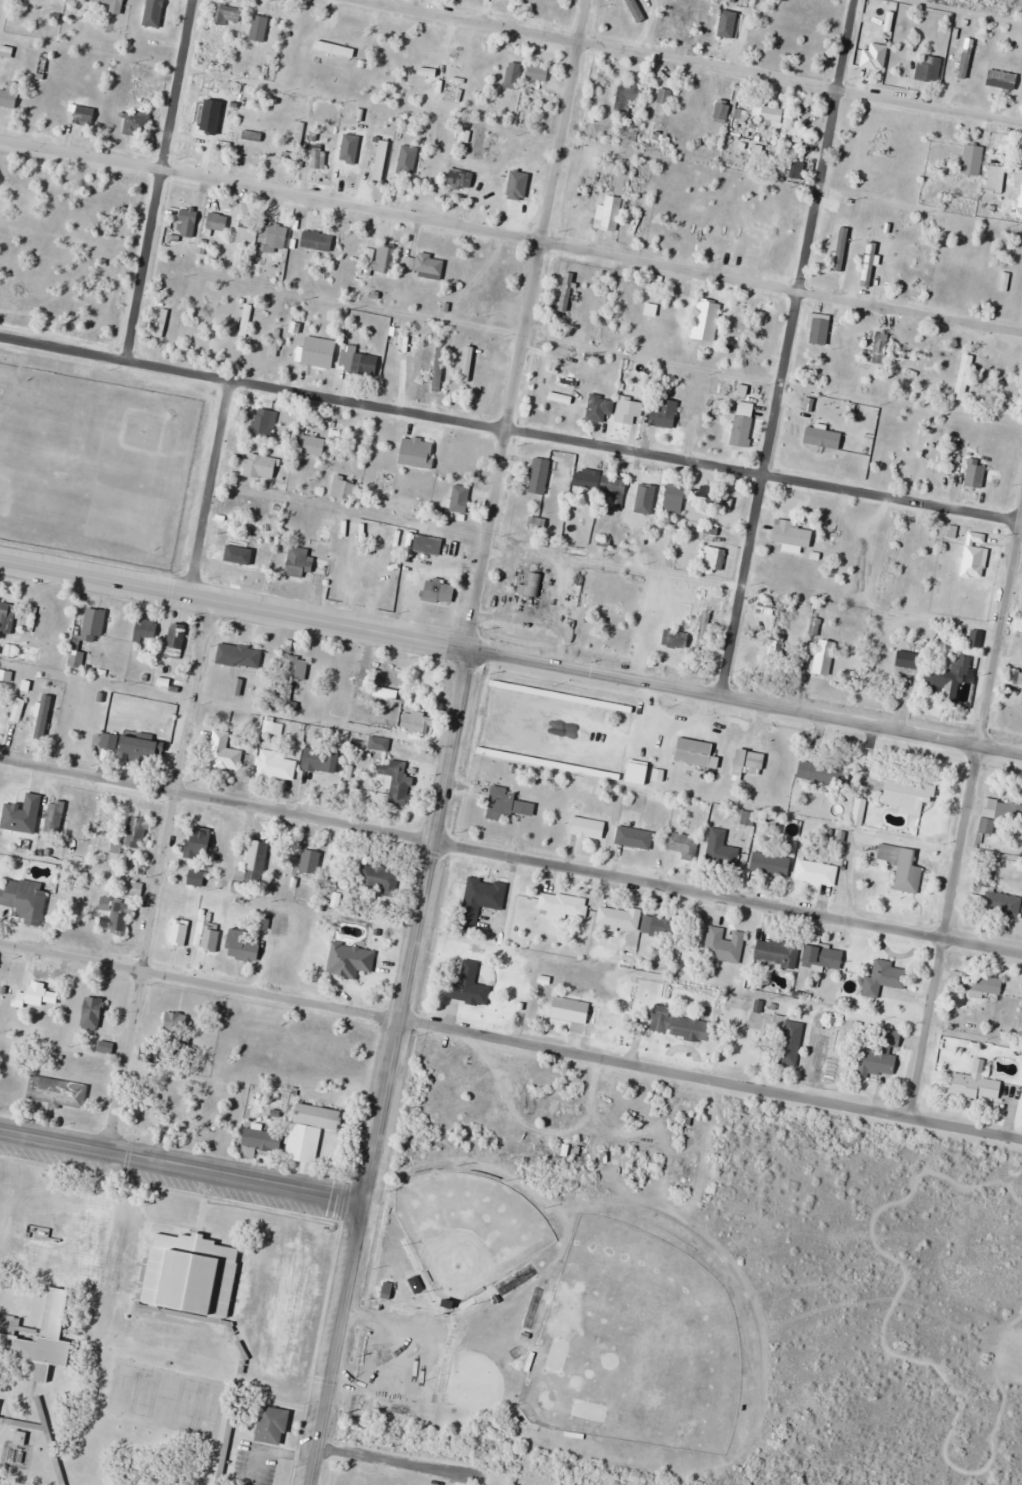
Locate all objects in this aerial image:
building: (114, 5)
building: (159, 10)
building: (227, 14)
building: (673, 19)
building: (731, 20)
building: (261, 26)
building: (328, 46)
building: (1021, 53)
building: (876, 56)
building: (967, 58)
road: (690, 62)
building: (930, 68)
building: (539, 73)
building: (513, 77)
building: (1003, 80)
building: (476, 85)
building: (630, 92)
building: (449, 93)
building: (10, 96)
building: (665, 97)
building: (722, 114)
building: (772, 115)
building: (86, 116)
building: (139, 124)
building: (228, 136)
building: (253, 136)
building: (316, 156)
building: (973, 160)
building: (349, 161)
building: (380, 161)
building: (406, 162)
building: (462, 178)
road: (158, 179)
building: (1017, 181)
building: (609, 213)
building: (218, 221)
building: (188, 223)
road: (511, 232)
building: (264, 234)
building: (318, 241)
building: (838, 247)
building: (386, 259)
building: (431, 264)
building: (870, 265)
building: (505, 284)
building: (567, 291)
building: (707, 320)
building: (246, 321)
building: (163, 323)
road: (528, 323)
building: (769, 325)
building: (821, 331)
building: (277, 342)
road: (787, 347)
building: (881, 348)
building: (320, 352)
building: (358, 361)
building: (441, 368)
building: (601, 408)
building: (631, 408)
building: (665, 412)
building: (264, 424)
building: (744, 425)
road: (511, 428)
building: (824, 438)
building: (314, 445)
building: (417, 453)
building: (259, 467)
building: (971, 474)
building: (540, 476)
building: (603, 485)
road: (212, 486)
building: (346, 487)
building: (644, 491)
building: (463, 493)
building: (675, 498)
building: (712, 503)
building: (255, 509)
building: (537, 524)
building: (237, 526)
building: (963, 534)
building: (792, 536)
building: (435, 546)
building: (232, 554)
building: (712, 557)
building: (301, 562)
road: (410, 562)
building: (975, 562)
building: (532, 584)
building: (440, 591)
road: (235, 602)
building: (604, 607)
building: (7, 615)
building: (706, 619)
building: (146, 631)
building: (678, 638)
building: (176, 641)
building: (240, 656)
building: (825, 657)
building: (77, 658)
building: (909, 659)
building: (949, 677)
building: (362, 683)
building: (388, 683)
road: (746, 700)
building: (19, 710)
building: (416, 721)
building: (109, 741)
building: (379, 743)
building: (144, 748)
building: (224, 752)
building: (686, 752)
building: (322, 760)
building: (750, 763)
building: (277, 765)
building: (820, 771)
building: (909, 796)
building: (510, 802)
building: (859, 813)
building: (998, 814)
road: (966, 816)
building: (55, 818)
building: (1021, 820)
building: (87, 823)
building: (589, 828)
building: (138, 833)
building: (635, 837)
building: (200, 842)
building: (682, 844)
building: (722, 846)
road: (511, 857)
building: (254, 862)
building: (311, 862)
building: (771, 865)
building: (903, 867)
building: (817, 873)
road: (158, 875)
building: (197, 878)
building: (377, 879)
building: (482, 898)
building: (25, 899)
building: (564, 904)
building: (1002, 904)
building: (116, 916)
building: (619, 918)
road: (415, 924)
building: (662, 927)
building: (180, 932)
building: (208, 935)
building: (724, 945)
building: (246, 950)
building: (777, 952)
building: (825, 956)
building: (351, 960)
building: (884, 978)
building: (979, 982)
building: (469, 984)
building: (41, 998)
building: (577, 1010)
building: (93, 1012)
building: (177, 1023)
building: (681, 1025)
road: (511, 1039)
building: (790, 1043)
building: (107, 1047)
building: (881, 1056)
building: (977, 1086)
building: (57, 1092)
building: (261, 1141)
building: (297, 1143)
road: (181, 1167)
park: (467, 1230)
building: (192, 1273)
building: (68, 1281)
building: (287, 1308)
road: (339, 1343)
park: (635, 1344)
building: (0, 1401)
building: (273, 1424)

